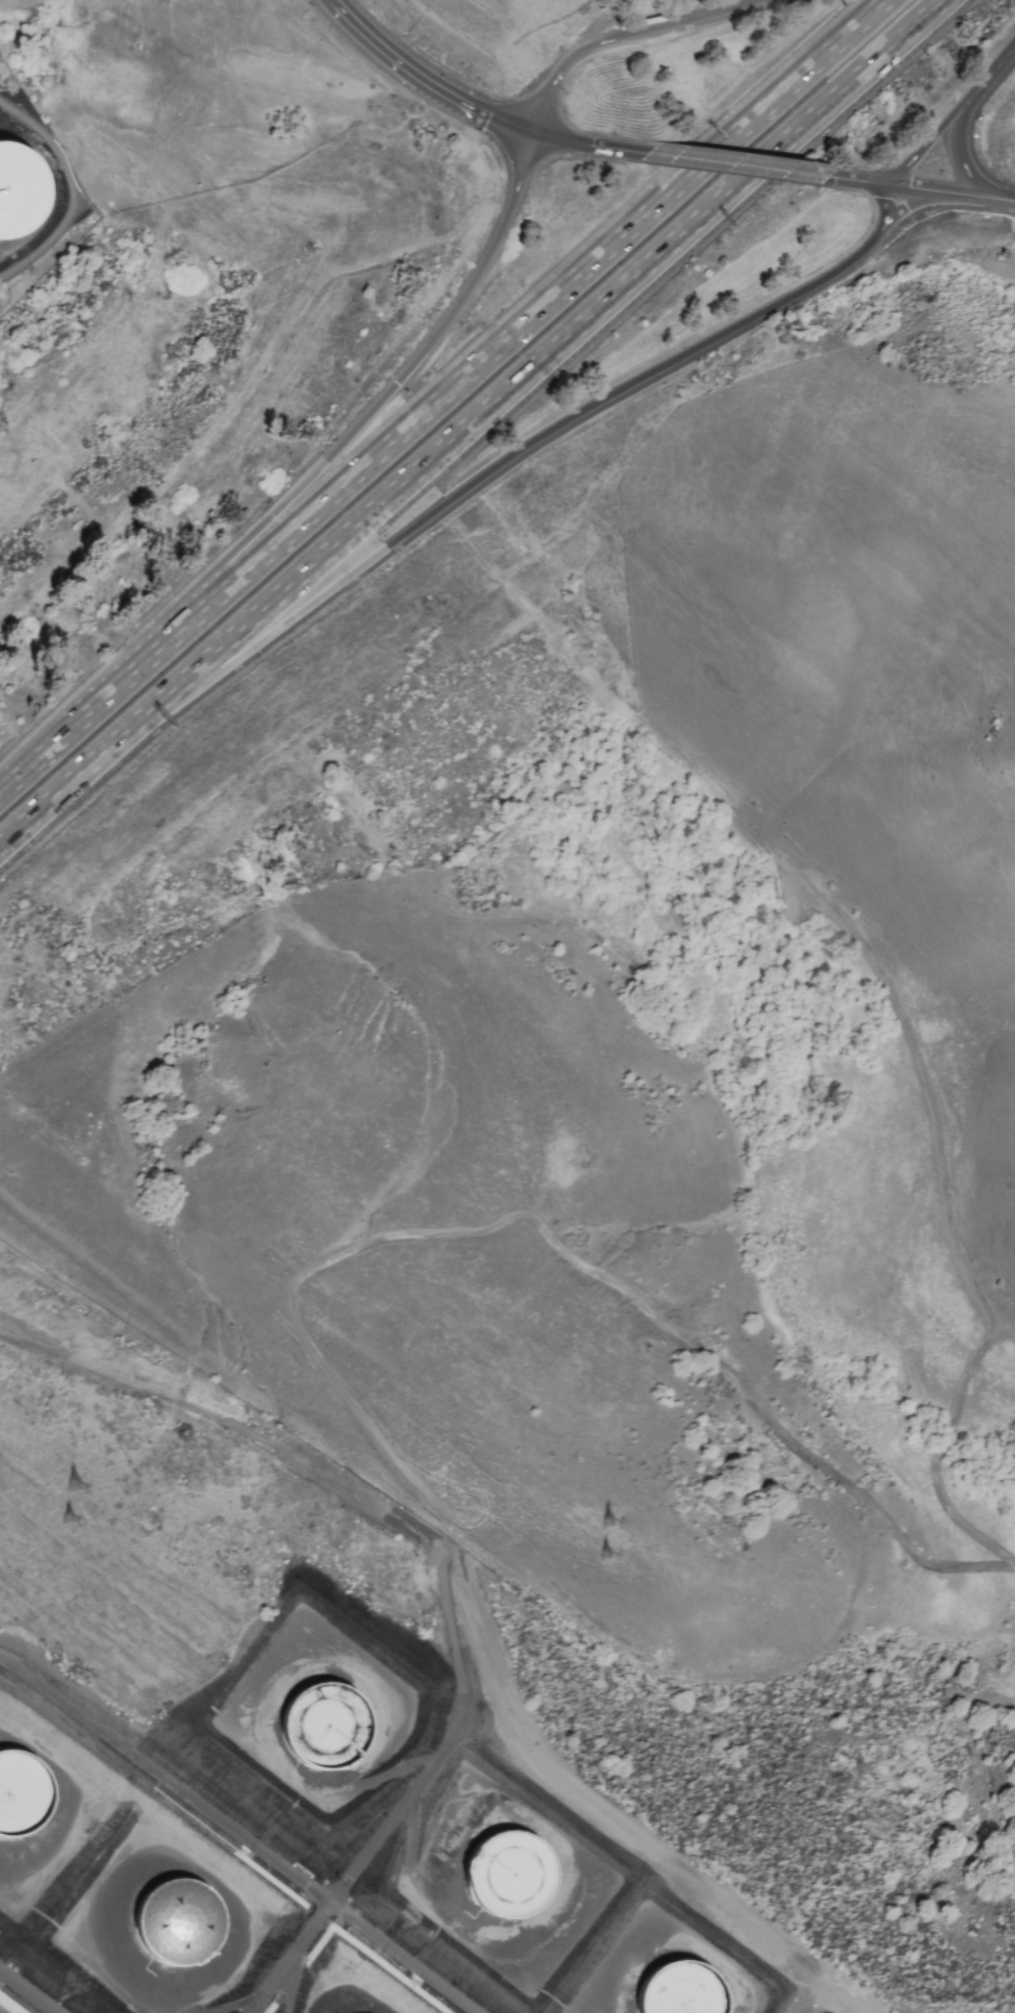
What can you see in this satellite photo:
road: (629, 38)
road: (988, 76)
road: (428, 77)
street lamp: (503, 92)
street lamp: (561, 93)
street lamp: (988, 102)
road: (571, 142)
road: (923, 148)
street lamp: (495, 163)
street lamp: (559, 163)
road: (962, 163)
road: (720, 164)
street lamp: (862, 169)
road: (855, 181)
road: (912, 188)
building: (19, 193)
storage tank: (19, 193)
road: (975, 197)
road: (1010, 201)
road: (886, 204)
road: (913, 205)
street lamp: (928, 214)
road: (518, 382)
road: (443, 390)
road: (326, 458)
road: (481, 482)
road: (46, 805)
road: (523, 1091)
road: (612, 1279)
road: (230, 1402)
power tower: (74, 1488)
power tower: (65, 1519)
power tower: (610, 1523)
power tower: (608, 1558)
building: (329, 1741)
storage tank: (329, 1741)
building: (20, 1803)
storage tank: (20, 1803)
road: (602, 1811)
road: (999, 1821)
road: (241, 1833)
road: (364, 1867)
building: (514, 1879)
storage tank: (514, 1879)
building: (179, 1934)
storage tank: (179, 1934)
road: (30, 1990)
building: (678, 1995)
storage tank: (678, 1995)
road: (846, 2001)

